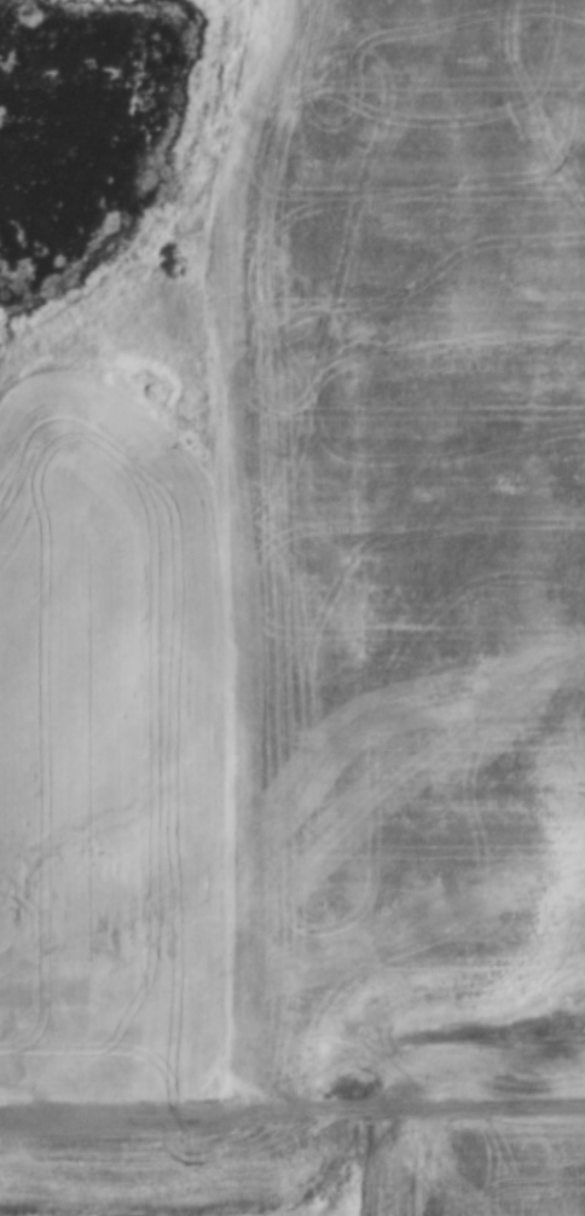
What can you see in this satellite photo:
road: (292, 1102)

